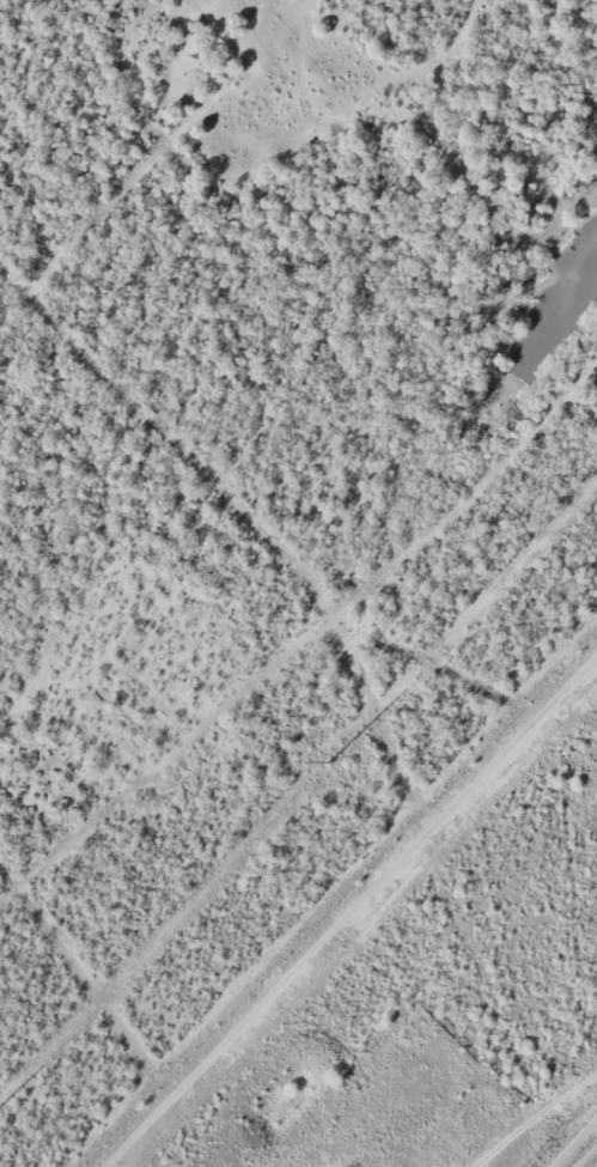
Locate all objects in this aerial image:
power tower: (328, 762)
road: (572, 1141)

